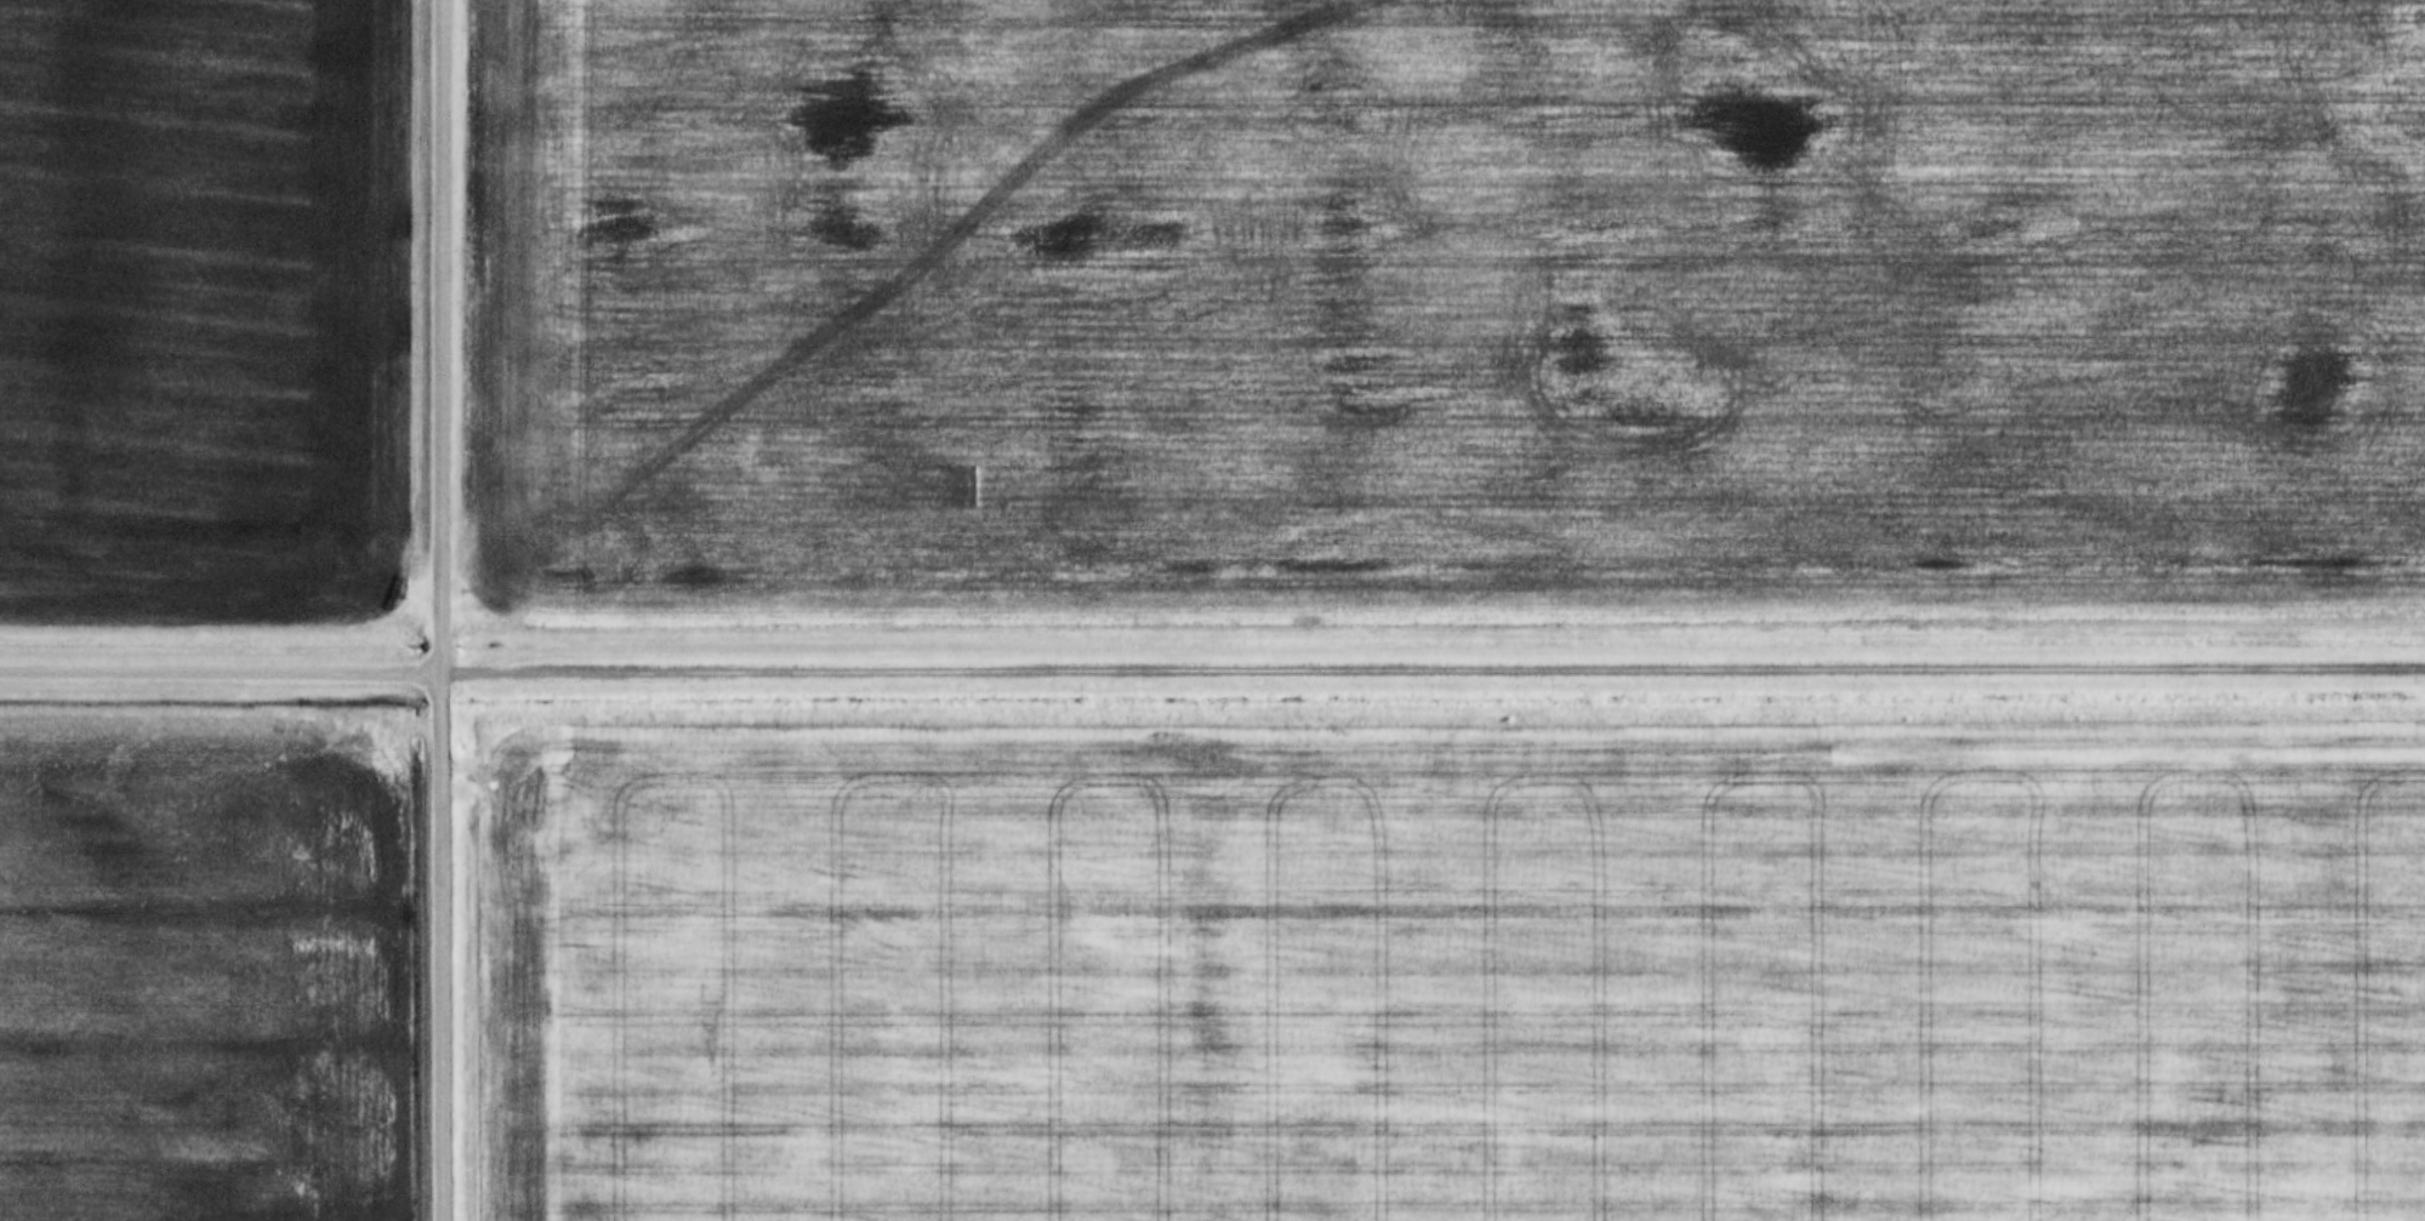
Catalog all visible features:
road: (443, 610)
road: (1433, 669)
road: (221, 672)

